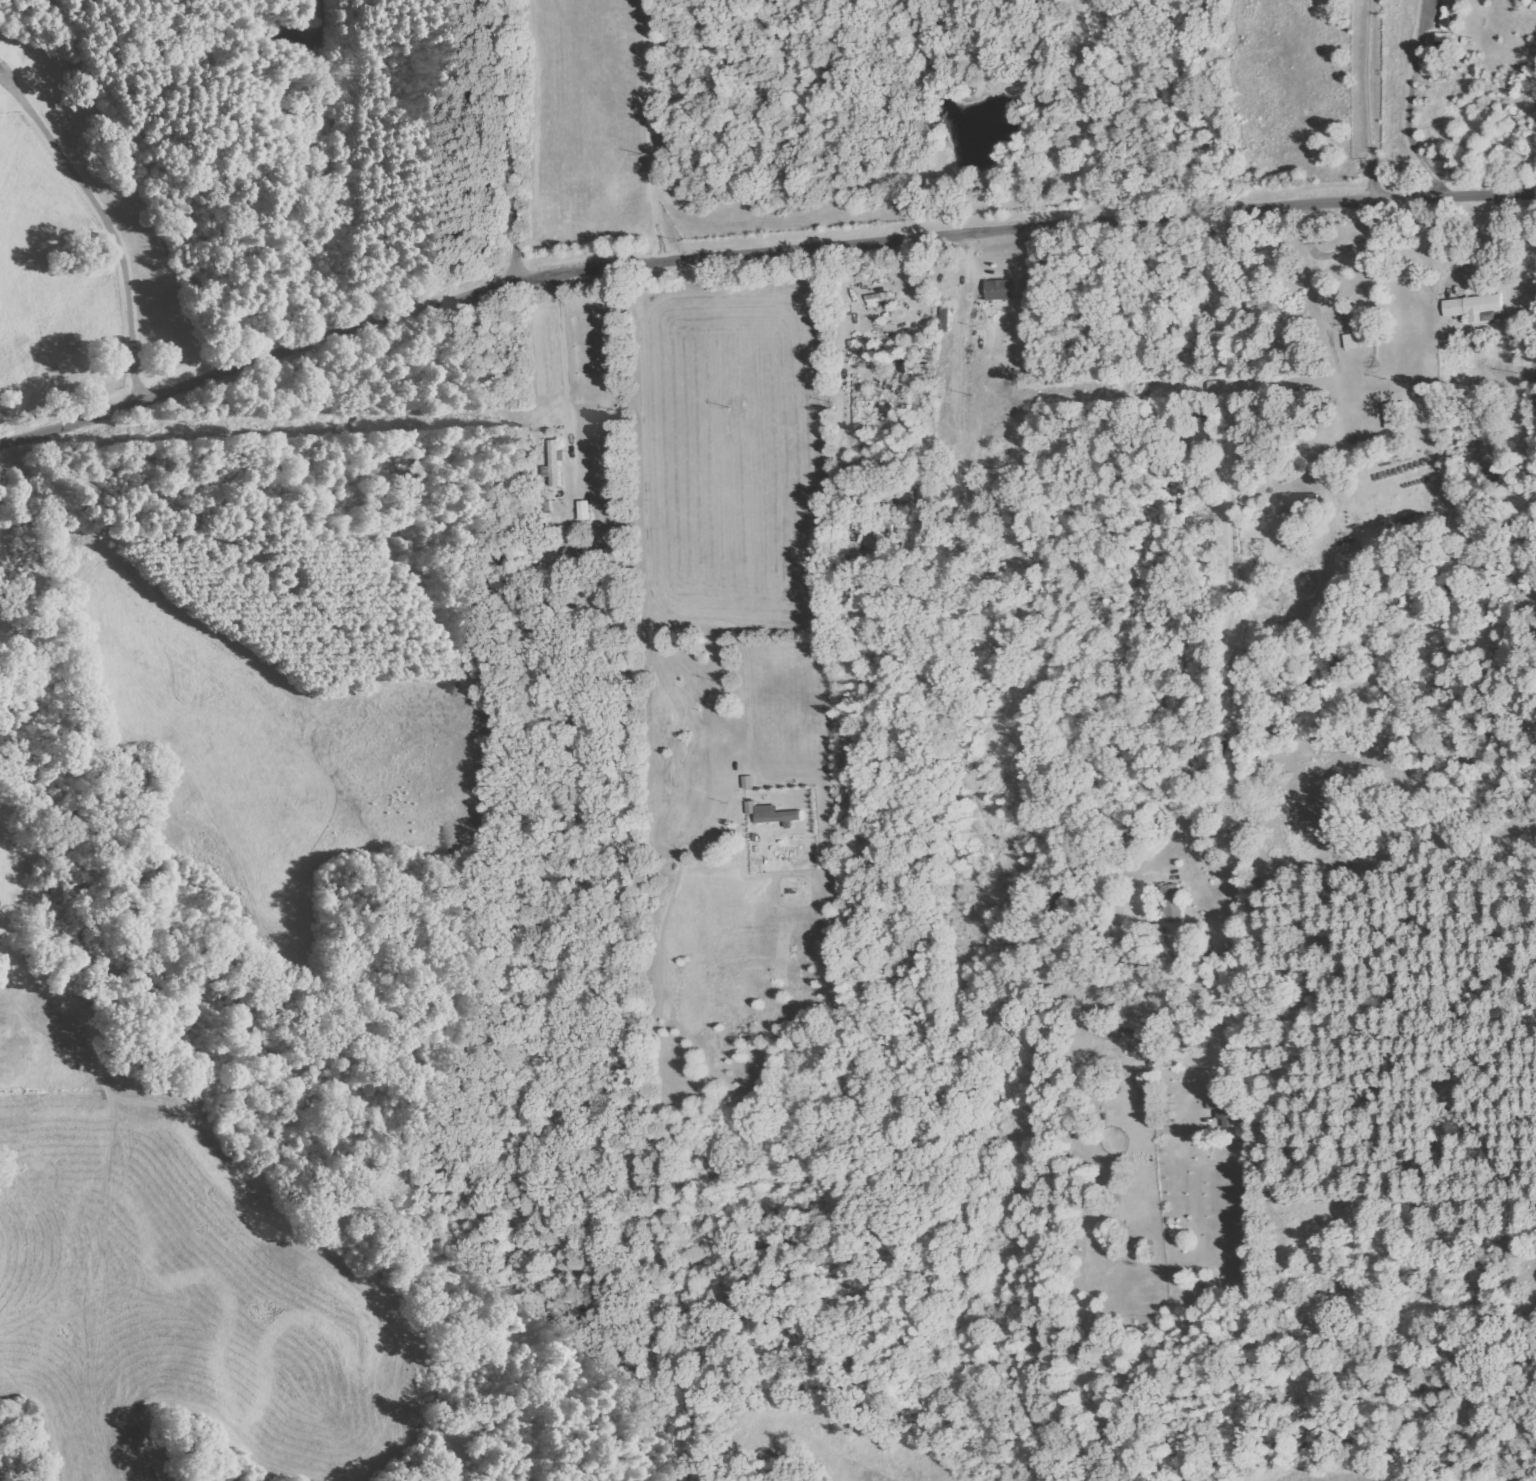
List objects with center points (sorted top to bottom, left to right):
road: (495, 140)
road: (755, 252)
building: (1003, 289)
building: (1474, 306)
building: (1353, 340)
building: (1398, 414)
building: (555, 462)
building: (1303, 501)
building: (585, 510)
building: (892, 511)
building: (773, 812)
building: (1174, 902)

